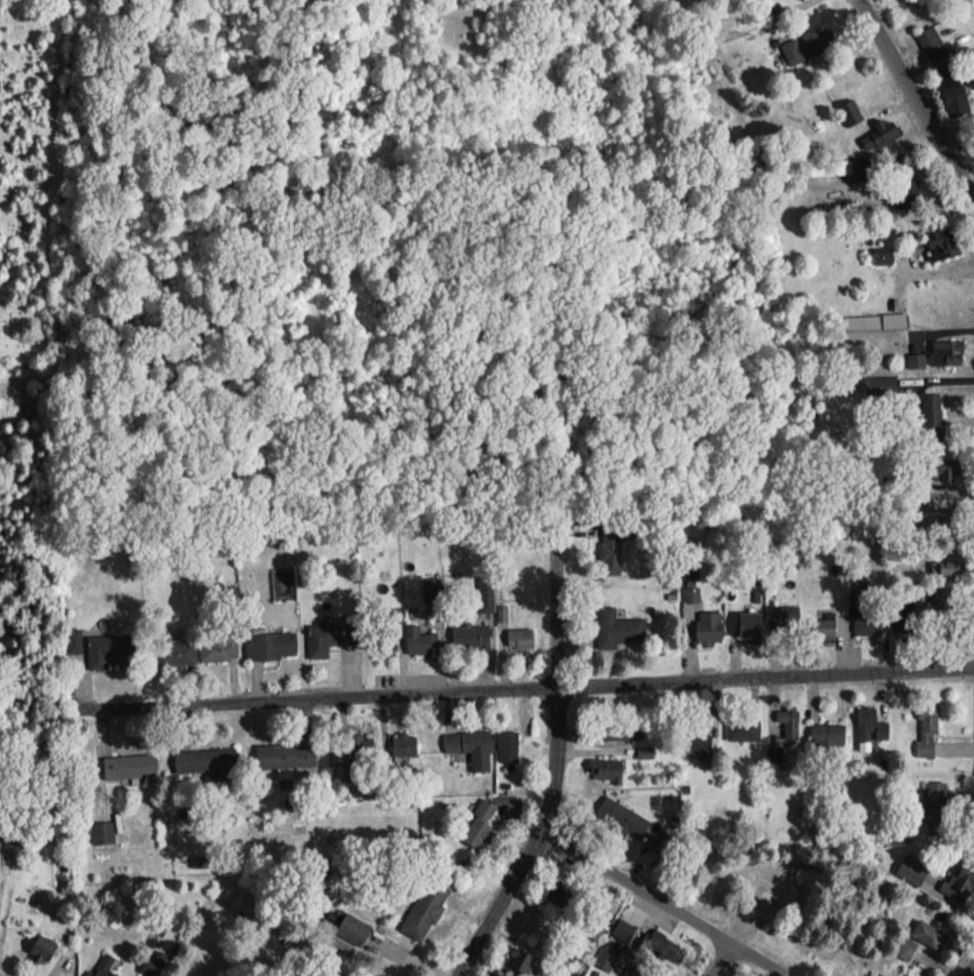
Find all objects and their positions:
building: (926, 37)
building: (844, 103)
road: (913, 104)
building: (875, 128)
building: (941, 346)
building: (876, 381)
building: (927, 413)
building: (939, 465)
building: (941, 562)
building: (704, 618)
building: (744, 619)
building: (614, 622)
building: (818, 622)
building: (467, 626)
building: (515, 632)
building: (268, 639)
road: (519, 691)
building: (867, 718)
building: (822, 728)
building: (400, 738)
building: (503, 740)
building: (466, 742)
building: (282, 750)
building: (201, 754)
road: (552, 759)
building: (125, 760)
building: (601, 763)
building: (617, 811)
building: (421, 906)
road: (656, 907)
building: (348, 922)
building: (619, 923)
building: (924, 928)
building: (37, 942)
building: (600, 952)
building: (514, 953)
road: (715, 962)
building: (99, 965)
road: (971, 971)
building: (869, 973)

